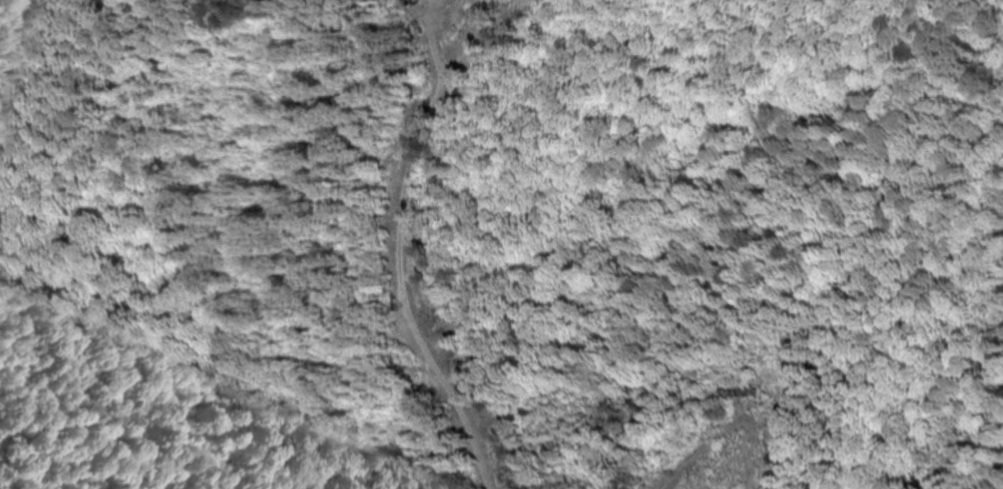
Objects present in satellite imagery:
road: (766, 341)
building: (741, 393)

